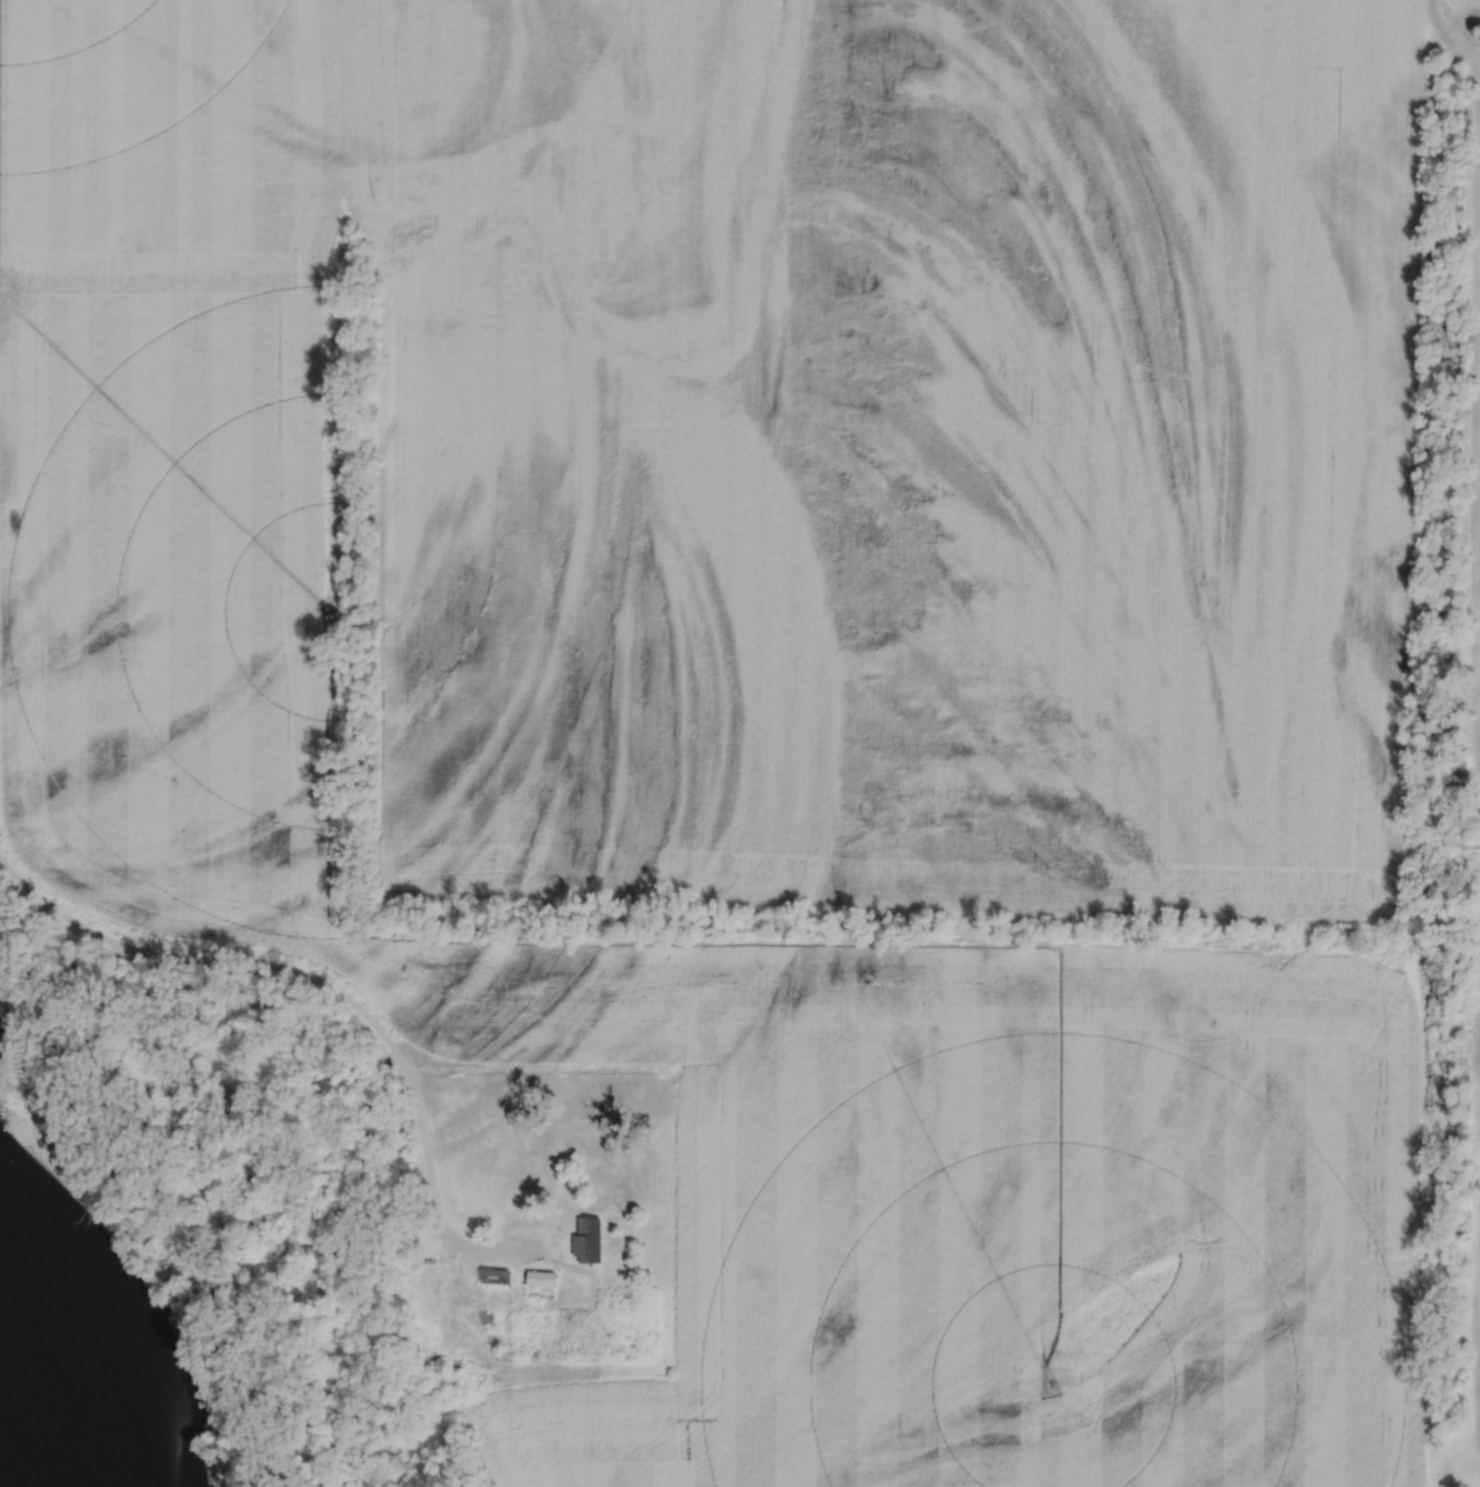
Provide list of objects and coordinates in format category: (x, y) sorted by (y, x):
road: (330, 985)
road: (208, 1206)
building: (586, 1241)
building: (496, 1273)
building: (541, 1275)
river: (37, 1366)

